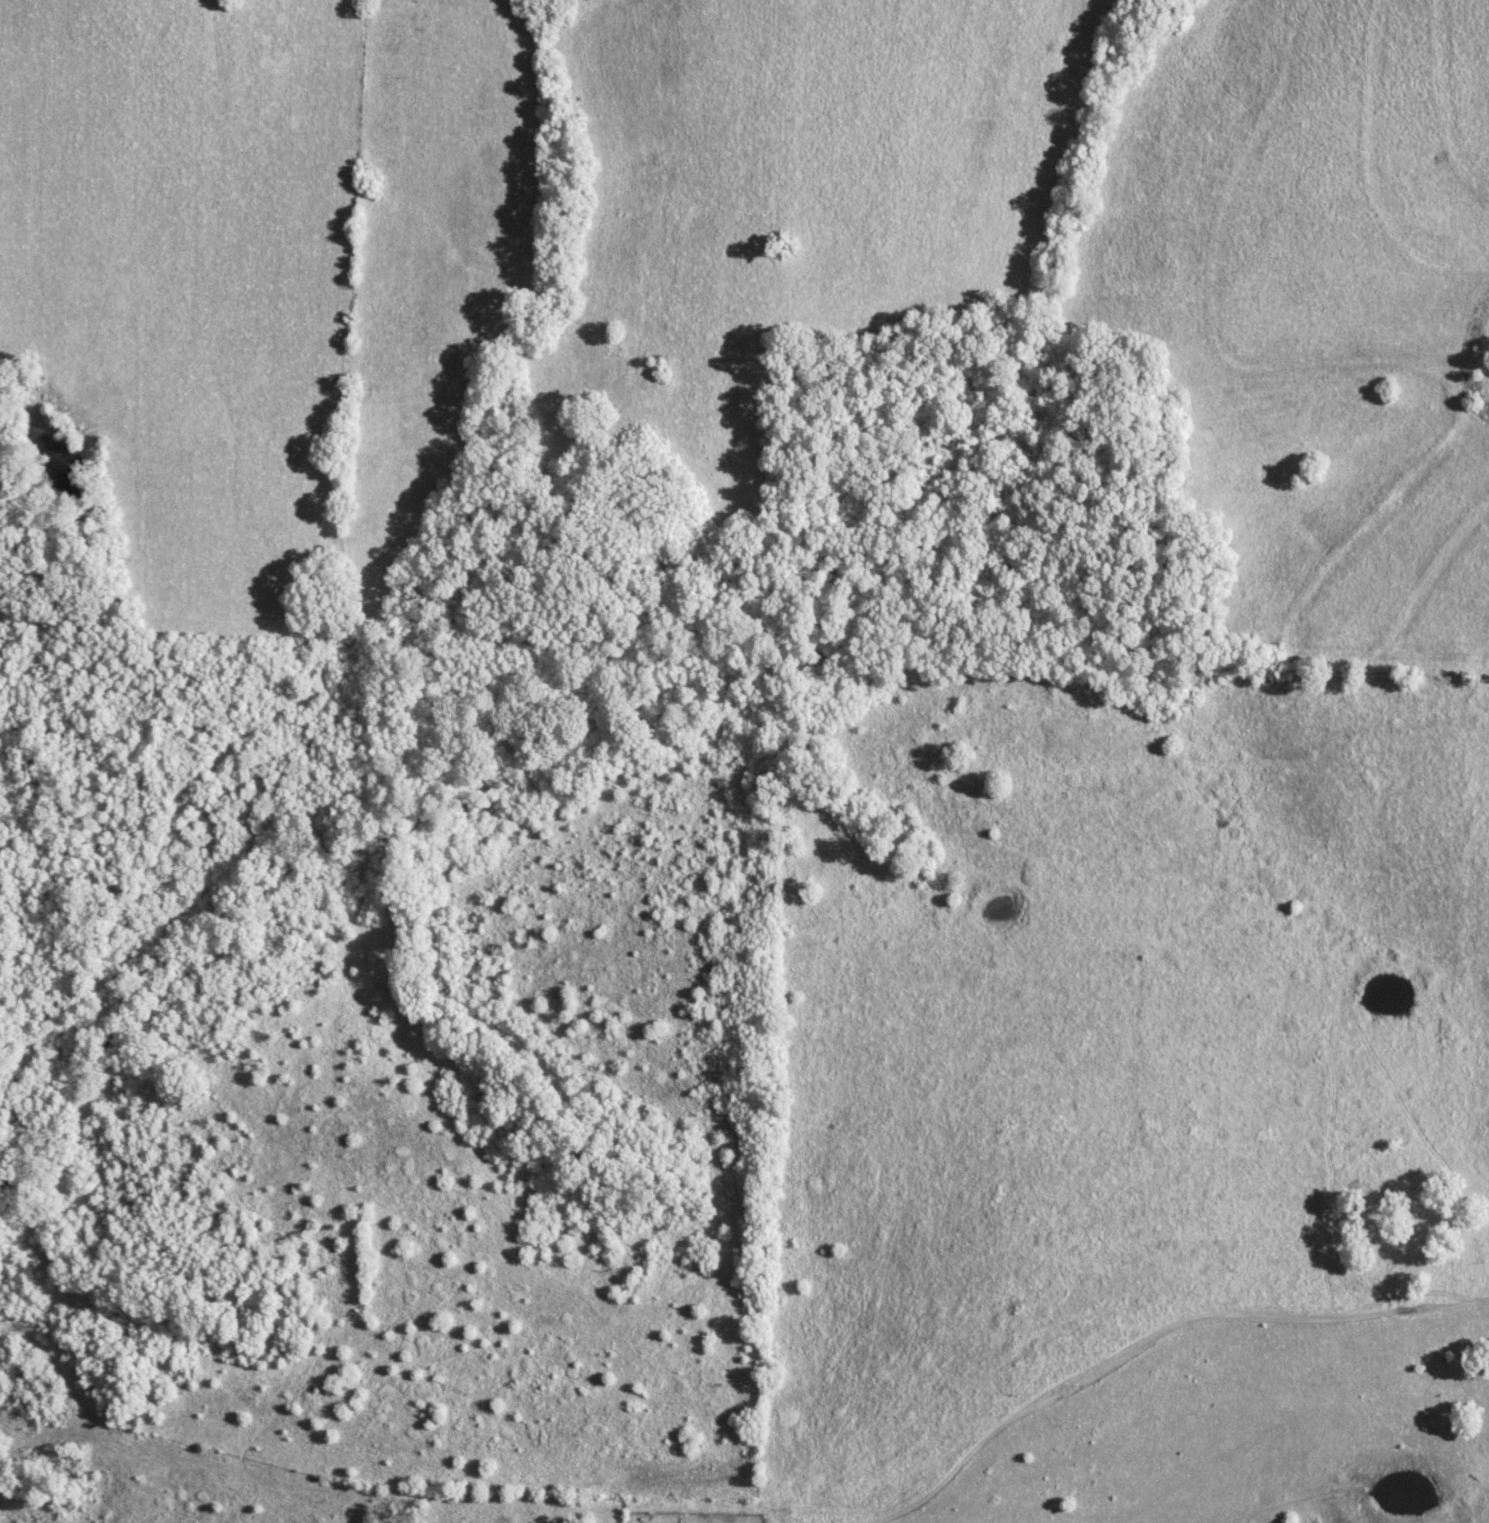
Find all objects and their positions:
road: (1162, 1343)

